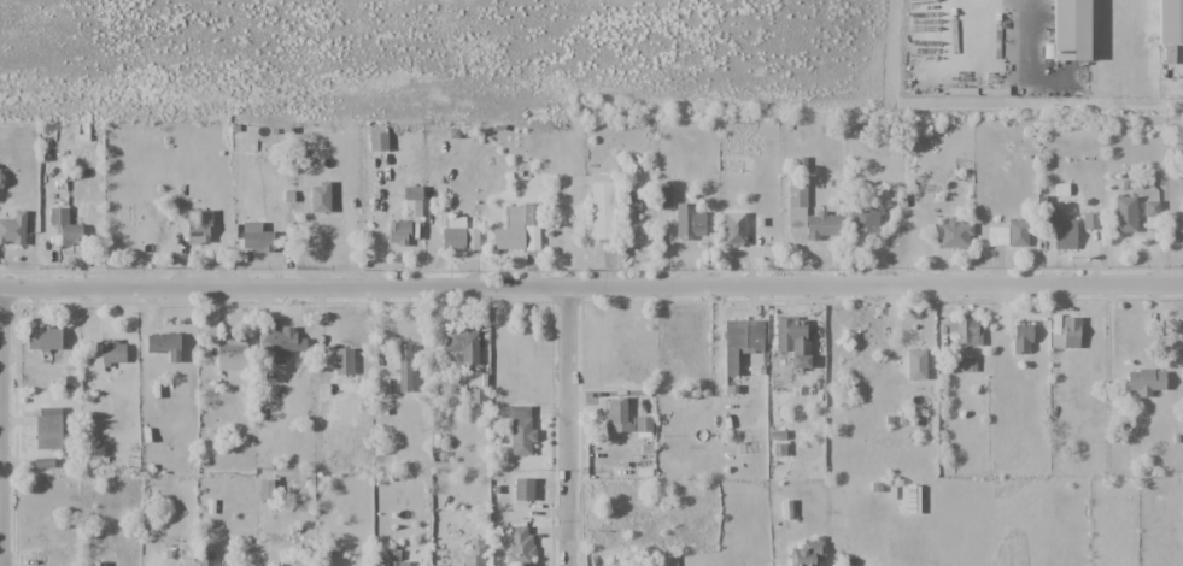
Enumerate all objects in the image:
building: (1175, 24)
building: (1076, 29)
building: (377, 141)
building: (320, 197)
building: (663, 197)
building: (414, 207)
building: (602, 211)
building: (809, 213)
building: (1124, 214)
building: (1150, 217)
building: (1087, 220)
building: (689, 222)
building: (862, 224)
building: (65, 226)
building: (198, 226)
building: (734, 228)
building: (13, 229)
building: (517, 229)
building: (1060, 230)
building: (1177, 230)
building: (398, 232)
building: (1018, 232)
building: (955, 235)
building: (997, 236)
building: (257, 238)
building: (459, 238)
road: (591, 284)
building: (966, 330)
building: (1071, 334)
building: (43, 338)
building: (1021, 338)
building: (792, 340)
building: (740, 341)
building: (280, 343)
building: (164, 344)
building: (463, 344)
building: (106, 354)
building: (232, 356)
building: (342, 360)
building: (915, 364)
building: (404, 367)
building: (1144, 381)
building: (617, 417)
building: (643, 424)
road: (567, 425)
building: (48, 428)
building: (520, 430)
building: (43, 462)
building: (268, 488)
building: (523, 489)
building: (912, 499)
building: (519, 546)
building: (475, 553)
building: (807, 554)
building: (205, 559)
building: (397, 562)

